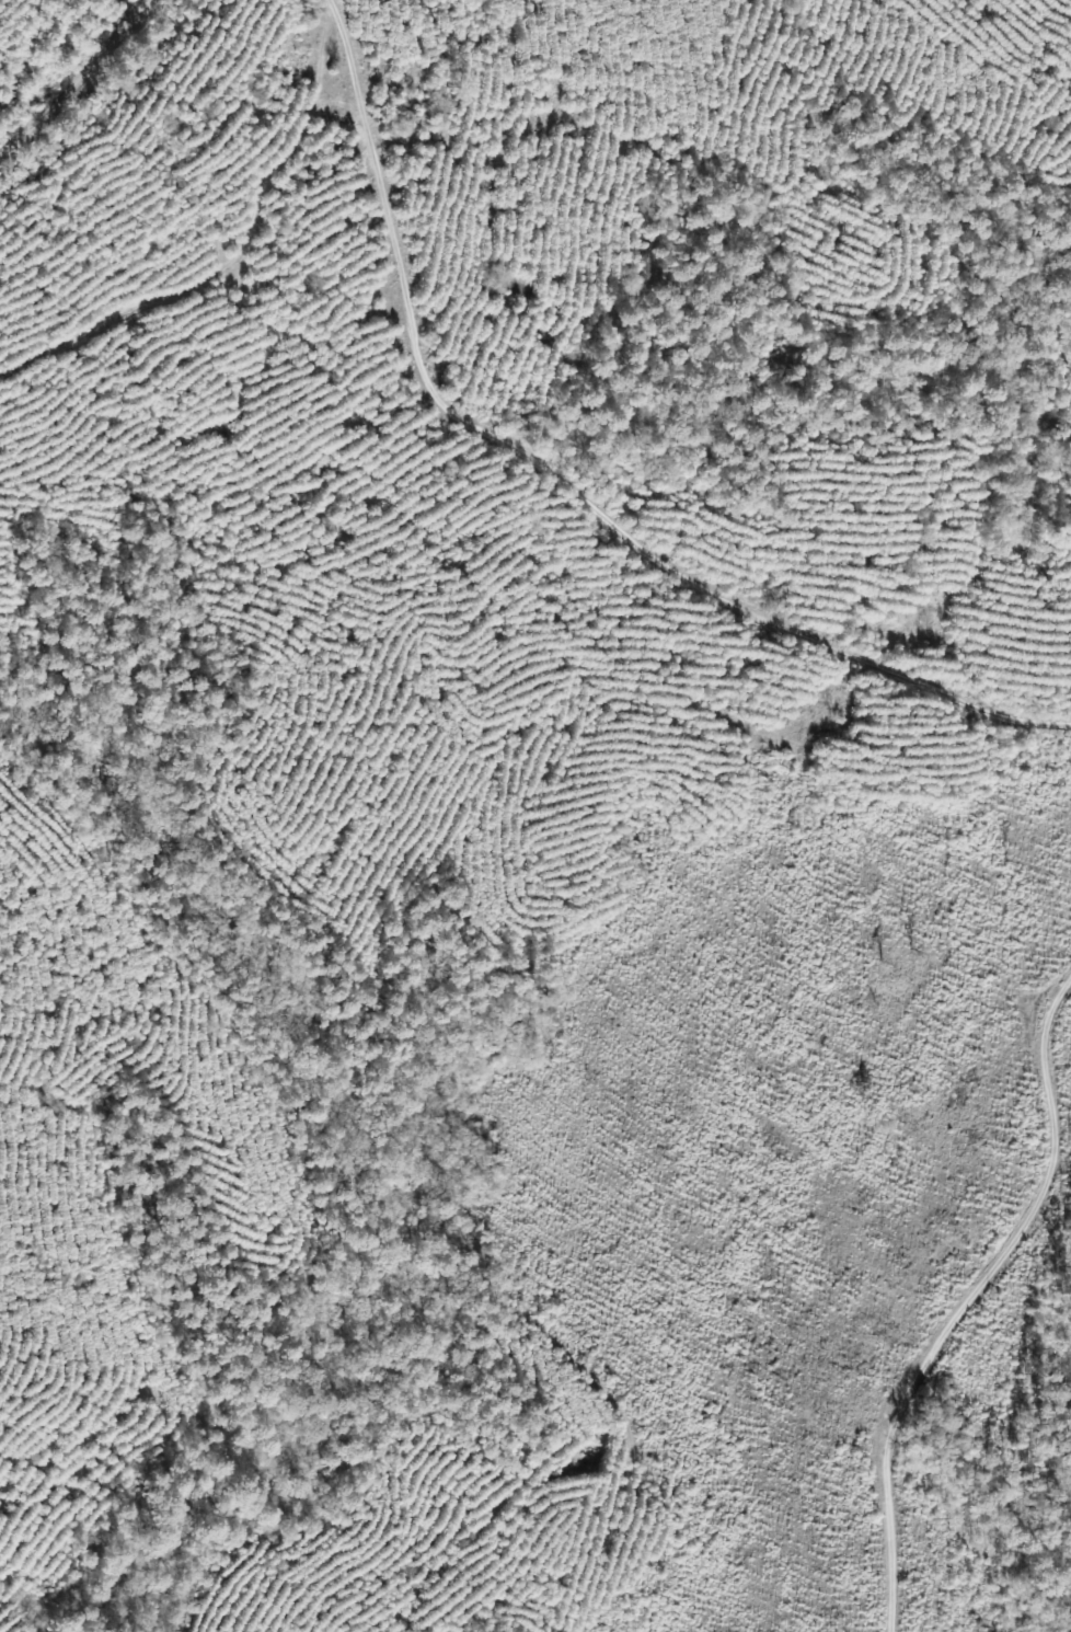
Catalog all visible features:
road: (77, 82)
road: (227, 263)
road: (554, 473)
road: (959, 1311)

